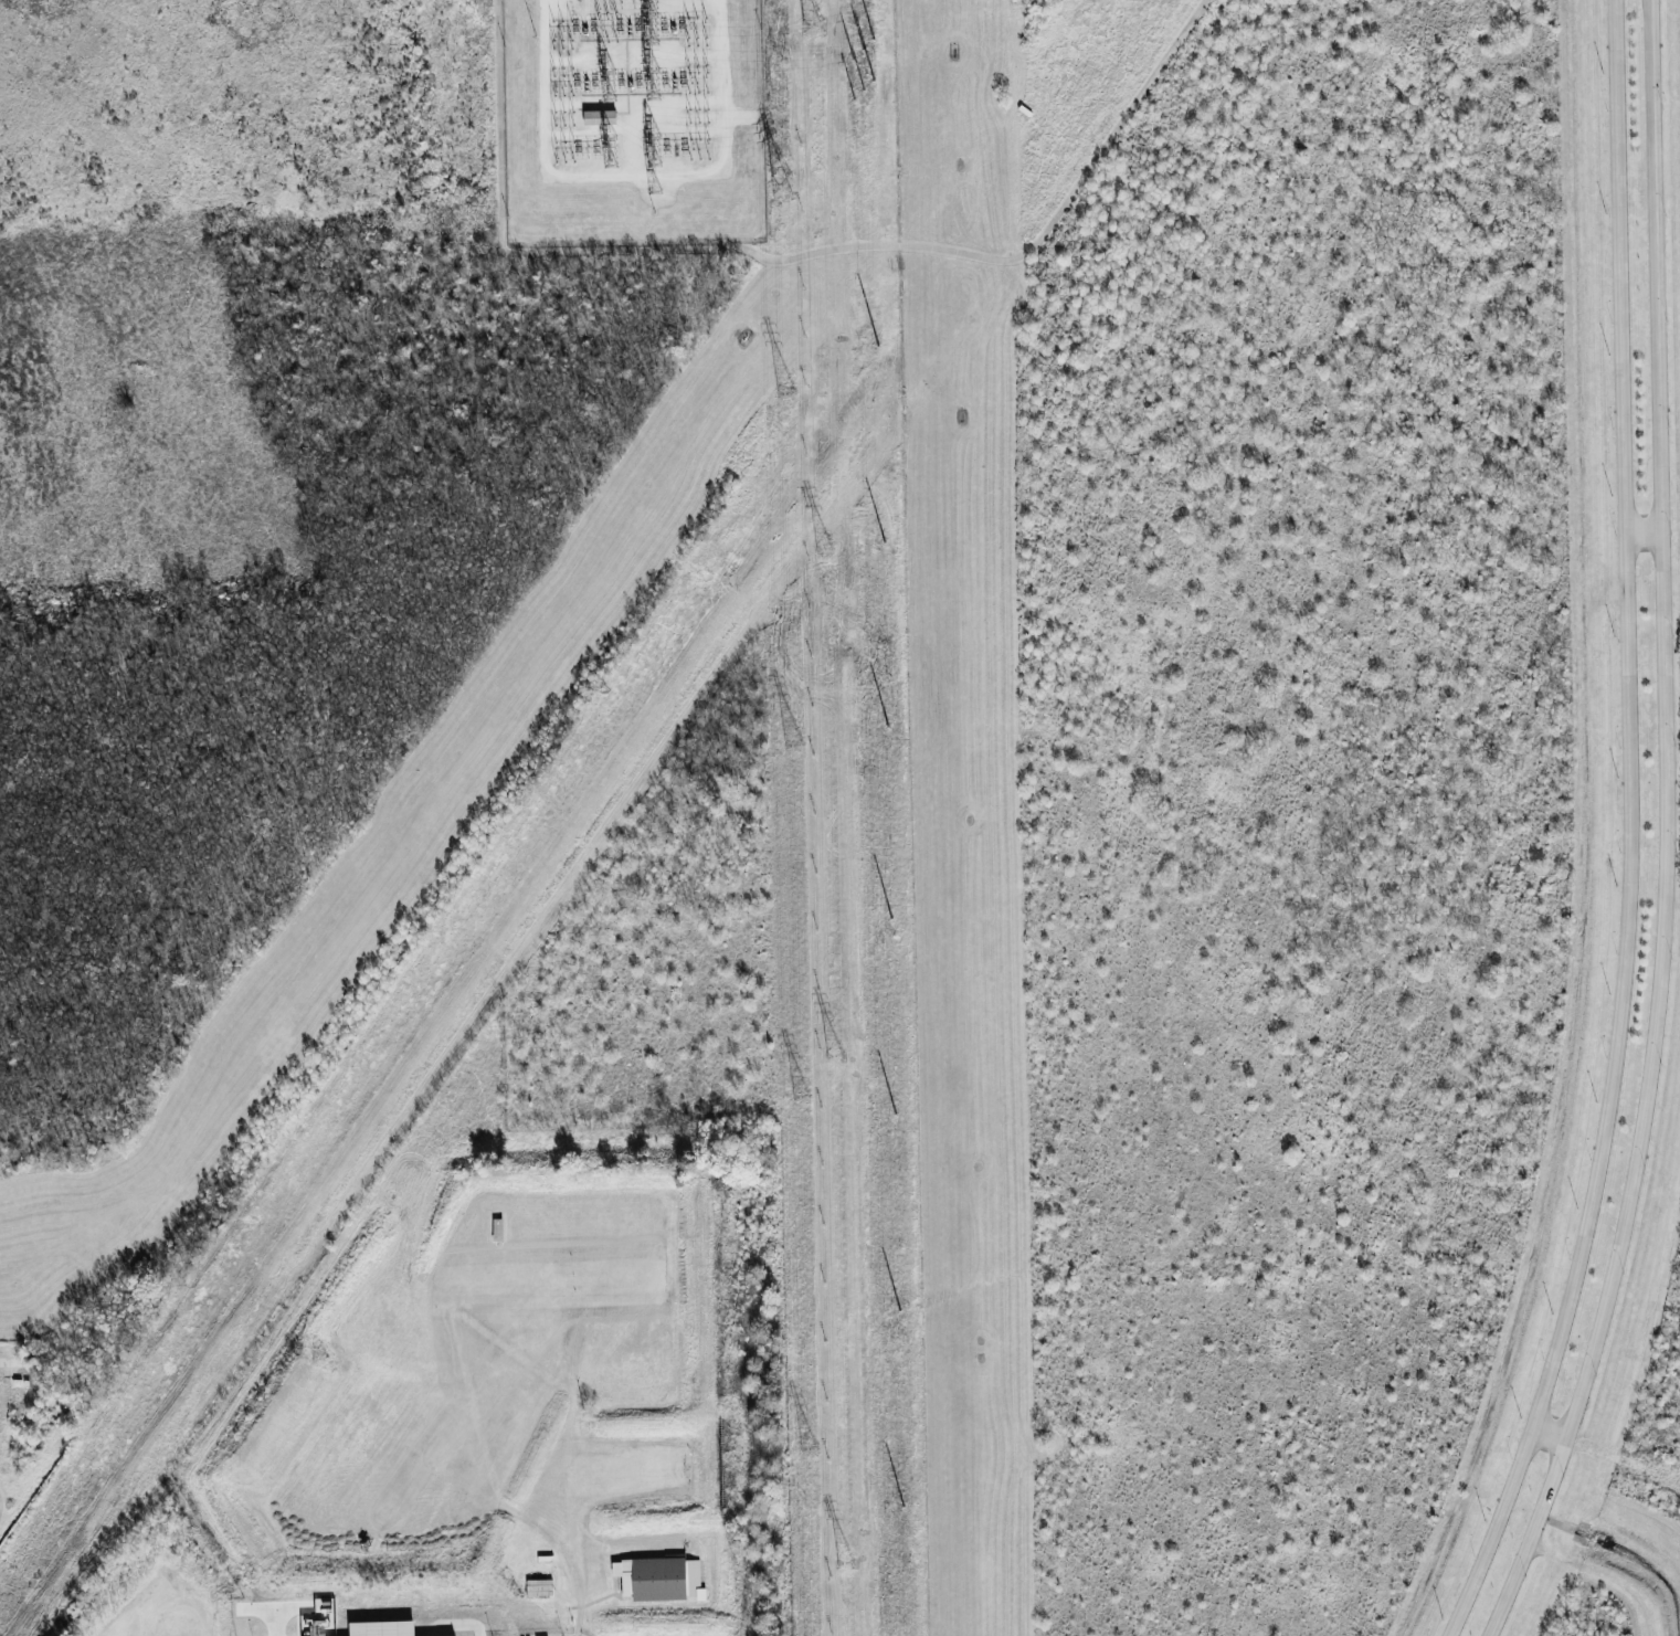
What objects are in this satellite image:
power tower: (814, 27)
building: (596, 116)
power substation: (632, 120)
power tower: (781, 188)
road: (790, 256)
power tower: (788, 392)
road: (1641, 531)
power tower: (823, 548)
power tower: (794, 743)
road: (1627, 831)
road: (1662, 831)
power tower: (834, 1057)
power tower: (801, 1096)
road: (1547, 1432)
power tower: (807, 1448)
power tower: (843, 1562)
building: (658, 1579)
road: (278, 1630)

